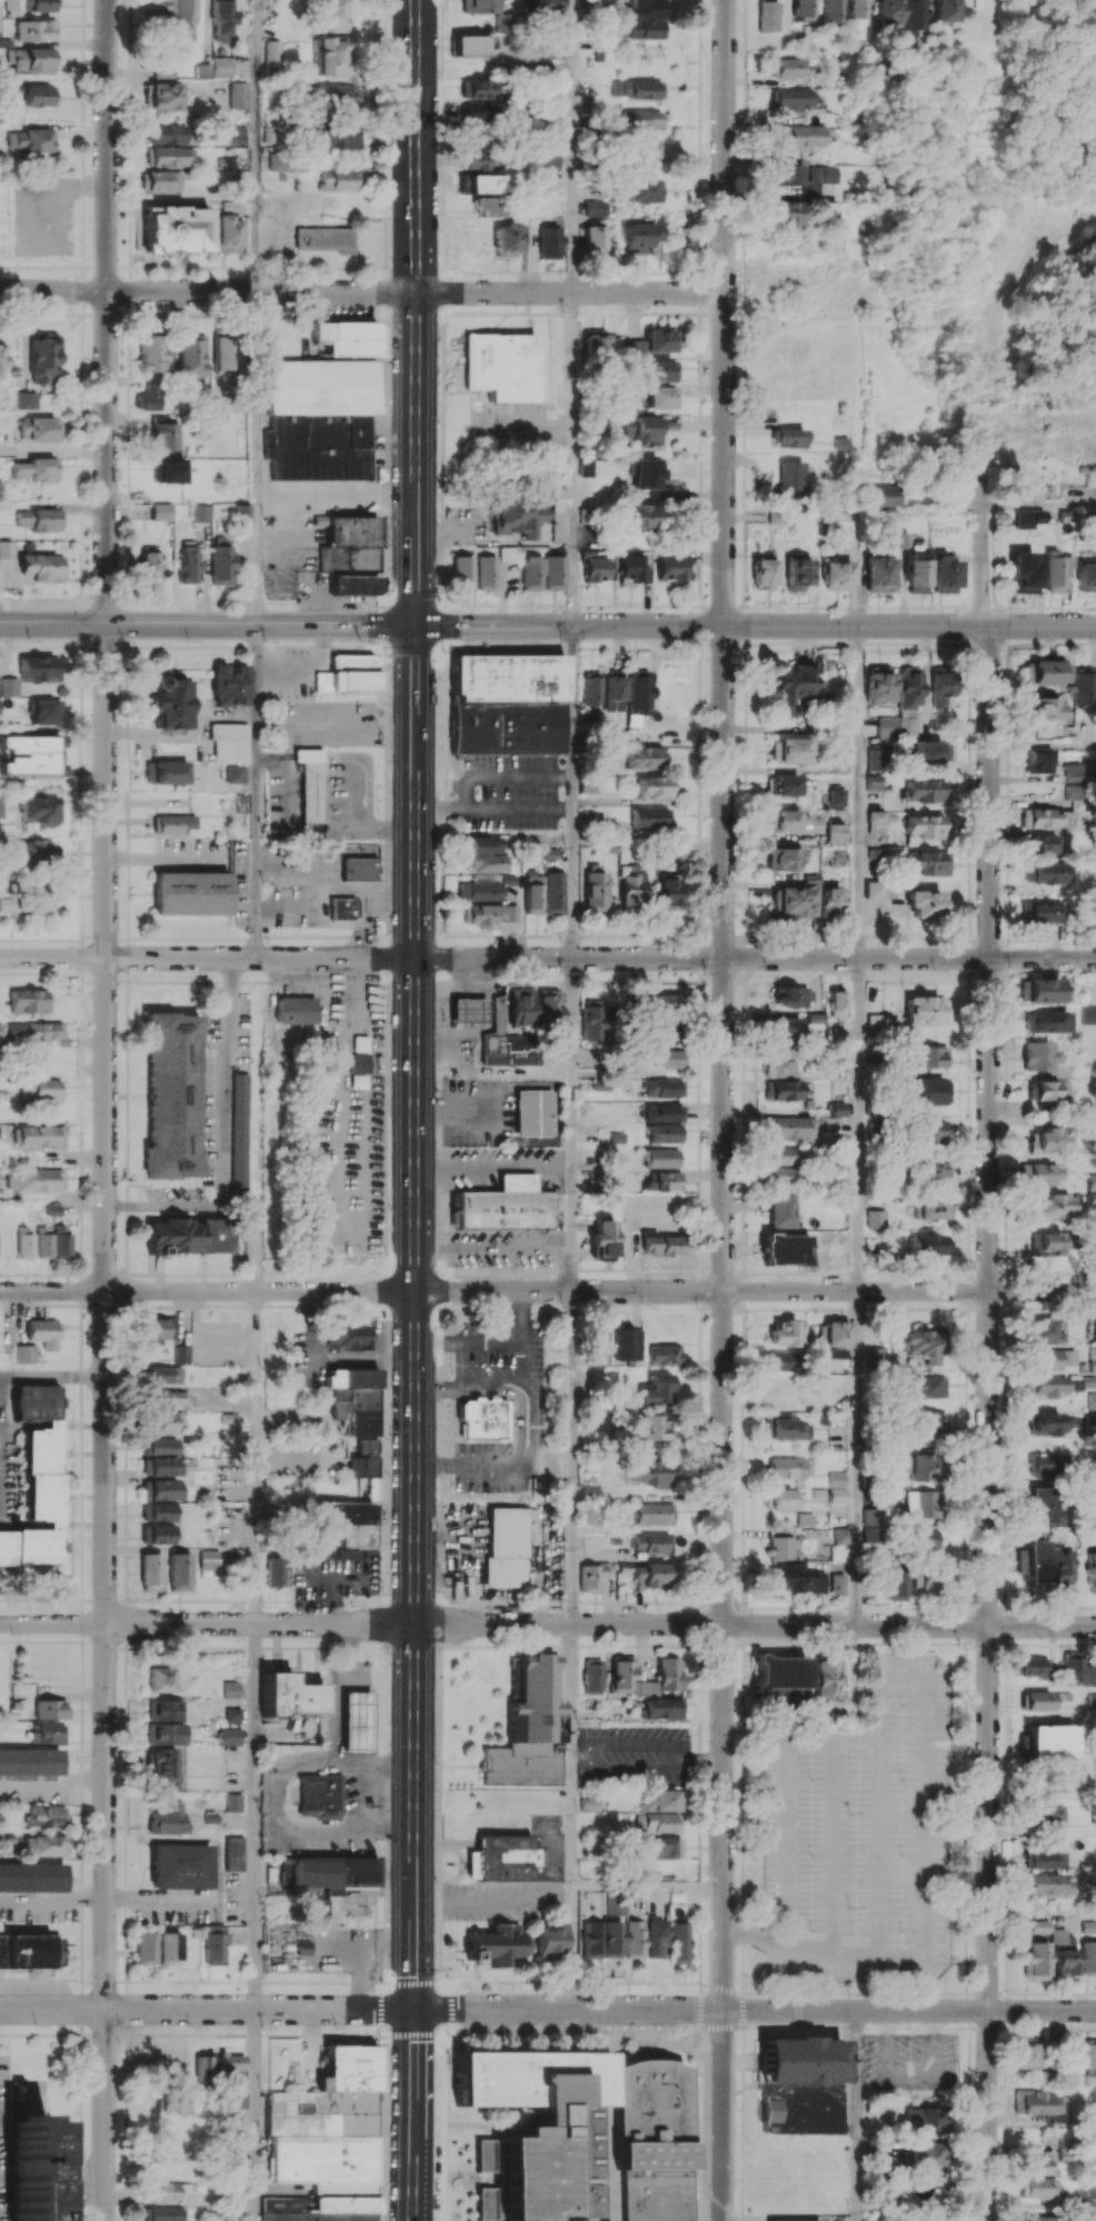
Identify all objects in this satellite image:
building: (10, 4)
building: (39, 6)
building: (478, 7)
building: (546, 7)
building: (856, 8)
building: (803, 9)
building: (156, 10)
building: (834, 11)
building: (946, 11)
building: (891, 12)
building: (331, 16)
building: (769, 16)
building: (914, 17)
building: (221, 19)
building: (644, 19)
building: (185, 20)
building: (504, 23)
building: (34, 30)
building: (470, 44)
building: (555, 47)
building: (272, 56)
building: (331, 57)
building: (31, 59)
building: (221, 67)
building: (790, 68)
building: (163, 71)
building: (203, 71)
building: (477, 88)
building: (636, 88)
building: (239, 93)
building: (39, 96)
building: (162, 96)
building: (339, 96)
building: (793, 97)
building: (478, 112)
building: (645, 120)
building: (165, 133)
building: (236, 133)
building: (339, 136)
building: (475, 136)
building: (803, 137)
building: (30, 140)
road: (257, 146)
road: (571, 146)
building: (647, 149)
building: (170, 156)
building: (551, 158)
building: (278, 160)
building: (475, 160)
building: (823, 173)
building: (788, 175)
building: (339, 179)
building: (160, 180)
building: (479, 184)
building: (646, 190)
building: (487, 207)
building: (789, 211)
building: (176, 228)
building: (228, 234)
building: (641, 237)
building: (323, 239)
building: (506, 239)
building: (590, 242)
park: (998, 249)
road: (208, 291)
road: (570, 293)
road: (1010, 308)
road: (108, 311)
building: (347, 337)
building: (599, 343)
building: (655, 343)
building: (2, 353)
building: (151, 353)
building: (221, 354)
building: (44, 357)
building: (191, 357)
building: (500, 365)
building: (662, 370)
building: (149, 397)
building: (662, 397)
building: (27, 400)
building: (319, 417)
road: (528, 424)
building: (642, 428)
building: (40, 429)
building: (165, 434)
building: (790, 437)
road: (256, 458)
road: (571, 458)
building: (36, 468)
building: (586, 468)
building: (169, 472)
building: (648, 474)
building: (791, 475)
building: (1028, 489)
building: (0, 490)
building: (883, 495)
road: (1038, 506)
building: (160, 512)
building: (200, 513)
building: (241, 513)
building: (557, 513)
building: (517, 515)
building: (586, 515)
building: (640, 515)
building: (1028, 518)
building: (40, 519)
building: (348, 543)
building: (188, 545)
building: (7, 548)
building: (506, 556)
building: (220, 561)
building: (149, 564)
building: (42, 567)
building: (188, 567)
building: (670, 567)
building: (595, 568)
building: (630, 569)
building: (462, 572)
building: (798, 572)
building: (485, 573)
building: (530, 573)
building: (554, 573)
building: (837, 573)
building: (1024, 573)
building: (764, 574)
building: (944, 574)
building: (1055, 574)
building: (878, 575)
building: (1085, 577)
building: (352, 584)
road: (206, 624)
traffic signals: (414, 625)
road: (755, 625)
building: (39, 668)
building: (1044, 672)
building: (348, 673)
building: (229, 684)
building: (612, 684)
building: (878, 684)
building: (8, 686)
building: (794, 686)
building: (940, 687)
building: (1085, 687)
building: (638, 692)
building: (590, 695)
building: (908, 698)
building: (171, 703)
building: (507, 704)
building: (1044, 710)
building: (46, 711)
road: (312, 722)
building: (887, 726)
building: (229, 741)
road: (1043, 744)
building: (790, 750)
building: (929, 752)
building: (30, 755)
building: (645, 757)
building: (877, 758)
building: (1038, 762)
building: (166, 772)
building: (1073, 772)
building: (235, 774)
road: (506, 779)
building: (874, 782)
building: (310, 785)
building: (587, 785)
building: (784, 785)
building: (655, 787)
building: (924, 790)
road: (256, 791)
road: (572, 791)
road: (859, 792)
building: (1072, 793)
building: (837, 797)
building: (0, 805)
road: (494, 806)
building: (39, 810)
building: (649, 817)
building: (1046, 817)
building: (788, 820)
building: (876, 822)
building: (176, 823)
building: (836, 826)
building: (927, 826)
building: (1044, 843)
building: (29, 851)
building: (544, 853)
building: (485, 854)
building: (783, 859)
building: (926, 863)
building: (360, 864)
building: (1047, 872)
building: (630, 885)
building: (485, 886)
building: (594, 888)
building: (879, 889)
building: (532, 890)
road: (332, 891)
building: (667, 891)
building: (554, 892)
building: (192, 893)
building: (26, 898)
building: (790, 902)
building: (830, 902)
building: (925, 903)
building: (345, 908)
building: (1040, 912)
building: (490, 913)
road: (327, 922)
road: (369, 923)
road: (547, 958)
building: (1038, 990)
building: (793, 998)
building: (29, 1001)
building: (837, 1003)
building: (666, 1005)
building: (468, 1009)
building: (295, 1010)
building: (923, 1012)
building: (1088, 1013)
building: (591, 1018)
building: (1046, 1021)
building: (877, 1024)
building: (787, 1028)
building: (0, 1030)
building: (511, 1030)
building: (34, 1031)
building: (778, 1051)
building: (1038, 1055)
building: (928, 1057)
building: (667, 1059)
building: (359, 1063)
building: (779, 1069)
building: (357, 1081)
building: (600, 1084)
building: (662, 1088)
building: (47, 1089)
building: (781, 1090)
building: (1045, 1090)
building: (931, 1091)
building: (172, 1095)
building: (837, 1109)
road: (415, 1110)
road: (723, 1110)
building: (534, 1112)
building: (664, 1112)
road: (572, 1123)
road: (256, 1124)
road: (857, 1124)
building: (789, 1128)
building: (931, 1130)
building: (665, 1132)
building: (240, 1133)
building: (41, 1136)
road: (225, 1139)
building: (1047, 1141)
building: (783, 1154)
building: (661, 1158)
building: (931, 1167)
building: (1039, 1173)
building: (783, 1177)
building: (34, 1179)
building: (667, 1180)
building: (1092, 1189)
building: (507, 1204)
building: (1052, 1207)
building: (934, 1208)
building: (781, 1211)
building: (875, 1219)
building: (190, 1235)
building: (62, 1240)
building: (602, 1240)
building: (26, 1242)
building: (662, 1243)
building: (1048, 1243)
building: (835, 1246)
building: (928, 1246)
road: (492, 1247)
building: (785, 1249)
road: (548, 1290)
building: (158, 1328)
building: (1095, 1329)
building: (1045, 1330)
building: (44, 1332)
building: (787, 1332)
building: (836, 1333)
building: (346, 1336)
road: (201, 1339)
road: (489, 1339)
building: (597, 1340)
building: (923, 1343)
road: (989, 1348)
building: (182, 1354)
building: (664, 1354)
building: (28, 1355)
building: (875, 1357)
building: (1049, 1358)
building: (1092, 1359)
building: (783, 1360)
building: (837, 1365)
building: (165, 1374)
road: (52, 1376)
road: (485, 1378)
building: (1084, 1382)
building: (1048, 1385)
building: (925, 1386)
building: (656, 1389)
building: (475, 1394)
building: (168, 1398)
building: (352, 1398)
building: (1092, 1400)
building: (229, 1418)
road: (106, 1421)
building: (165, 1421)
building: (481, 1421)
building: (600, 1422)
building: (930, 1422)
building: (1053, 1425)
building: (781, 1426)
building: (1090, 1426)
building: (648, 1427)
building: (167, 1445)
road: (255, 1457)
road: (572, 1457)
road: (855, 1458)
building: (365, 1464)
road: (521, 1464)
building: (160, 1465)
building: (1046, 1465)
building: (786, 1467)
building: (923, 1467)
building: (650, 1473)
building: (38, 1479)
building: (837, 1487)
building: (165, 1489)
building: (589, 1491)
building: (781, 1498)
building: (921, 1504)
building: (1045, 1505)
building: (159, 1511)
building: (652, 1514)
building: (870, 1516)
building: (622, 1517)
building: (805, 1518)
building: (351, 1521)
building: (158, 1534)
building: (843, 1536)
building: (925, 1539)
building: (651, 1543)
building: (506, 1546)
building: (780, 1547)
building: (347, 1554)
building: (208, 1558)
building: (1035, 1561)
building: (1063, 1567)
building: (150, 1571)
building: (179, 1571)
building: (273, 1571)
building: (1092, 1571)
building: (941, 1574)
building: (648, 1576)
building: (590, 1577)
building: (790, 1577)
building: (837, 1584)
building: (896, 1584)
road: (207, 1624)
road: (755, 1624)
building: (1034, 1666)
building: (1073, 1667)
building: (668, 1668)
building: (1088, 1675)
building: (592, 1676)
building: (827, 1676)
road: (903, 1676)
building: (159, 1679)
building: (780, 1682)
building: (230, 1689)
building: (288, 1698)
building: (1044, 1699)
building: (50, 1708)
building: (662, 1708)
building: (163, 1711)
building: (232, 1715)
building: (355, 1723)
building: (530, 1729)
road: (330, 1731)
building: (48, 1733)
building: (163, 1733)
building: (230, 1736)
building: (1049, 1741)
road: (628, 1742)
road: (579, 1753)
road: (676, 1754)
road: (571, 1755)
road: (699, 1755)
building: (30, 1762)
building: (162, 1767)
road: (628, 1767)
road: (52, 1783)
road: (361, 1795)
road: (787, 1795)
building: (320, 1796)
building: (660, 1799)
building: (233, 1802)
building: (589, 1804)
road: (880, 1813)
building: (1044, 1813)
road: (924, 1814)
building: (44, 1815)
road: (255, 1816)
building: (167, 1820)
building: (657, 1822)
road: (288, 1826)
parking lot: (864, 1833)
road: (834, 1843)
building: (42, 1845)
building: (659, 1847)
building: (233, 1853)
building: (505, 1857)
building: (1046, 1860)
building: (180, 1866)
building: (31, 1876)
building: (329, 1877)
building: (1045, 1884)
road: (647, 1887)
road: (571, 1894)
road: (157, 1898)
road: (492, 1900)
road: (52, 1902)
building: (612, 1905)
road: (1043, 1914)
building: (1039, 1925)
building: (1088, 1926)
road: (756, 1933)
building: (655, 1937)
building: (634, 1939)
building: (600, 1940)
building: (550, 1941)
building: (678, 1942)
building: (498, 1944)
building: (215, 1945)
building: (146, 1947)
building: (168, 1949)
road: (855, 1950)
building: (29, 1951)
building: (1064, 1952)
road: (571, 1955)
building: (1088, 1957)
building: (1036, 1961)
road: (207, 2009)
traffic signals: (414, 2010)
road: (755, 2010)
building: (1023, 2053)
building: (1073, 2056)
building: (1089, 2058)
building: (205, 2068)
building: (231, 2069)
building: (800, 2085)
building: (1092, 2094)
building: (238, 2100)
building: (1035, 2102)
building: (173, 2104)
road: (256, 2114)
road: (855, 2115)
building: (927, 2118)
building: (574, 2138)
building: (326, 2141)
building: (1066, 2143)
building: (924, 2154)
building: (1039, 2165)
building: (30, 2170)
building: (1039, 2188)
building: (167, 2191)
building: (167, 2213)
building: (1033, 2219)
building: (788, 2220)

